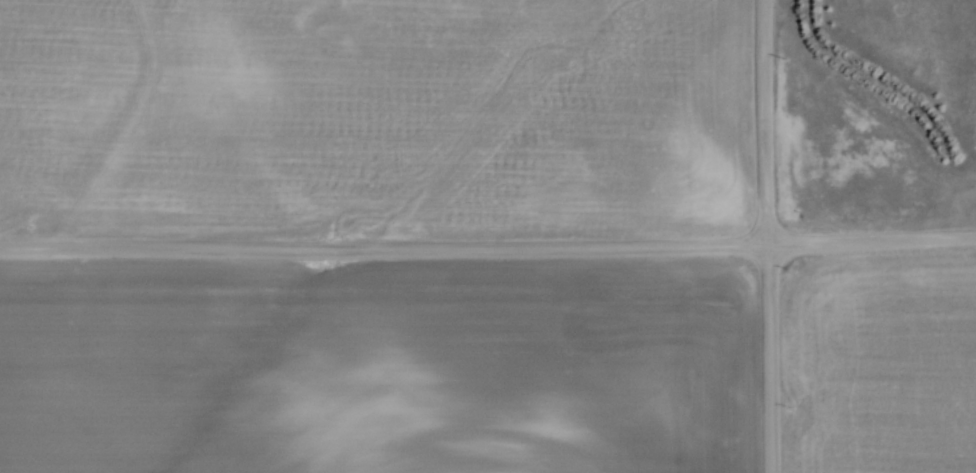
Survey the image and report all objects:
crop: (374, 116)
road: (765, 236)
road: (488, 245)
crop: (880, 362)
crop: (377, 366)

